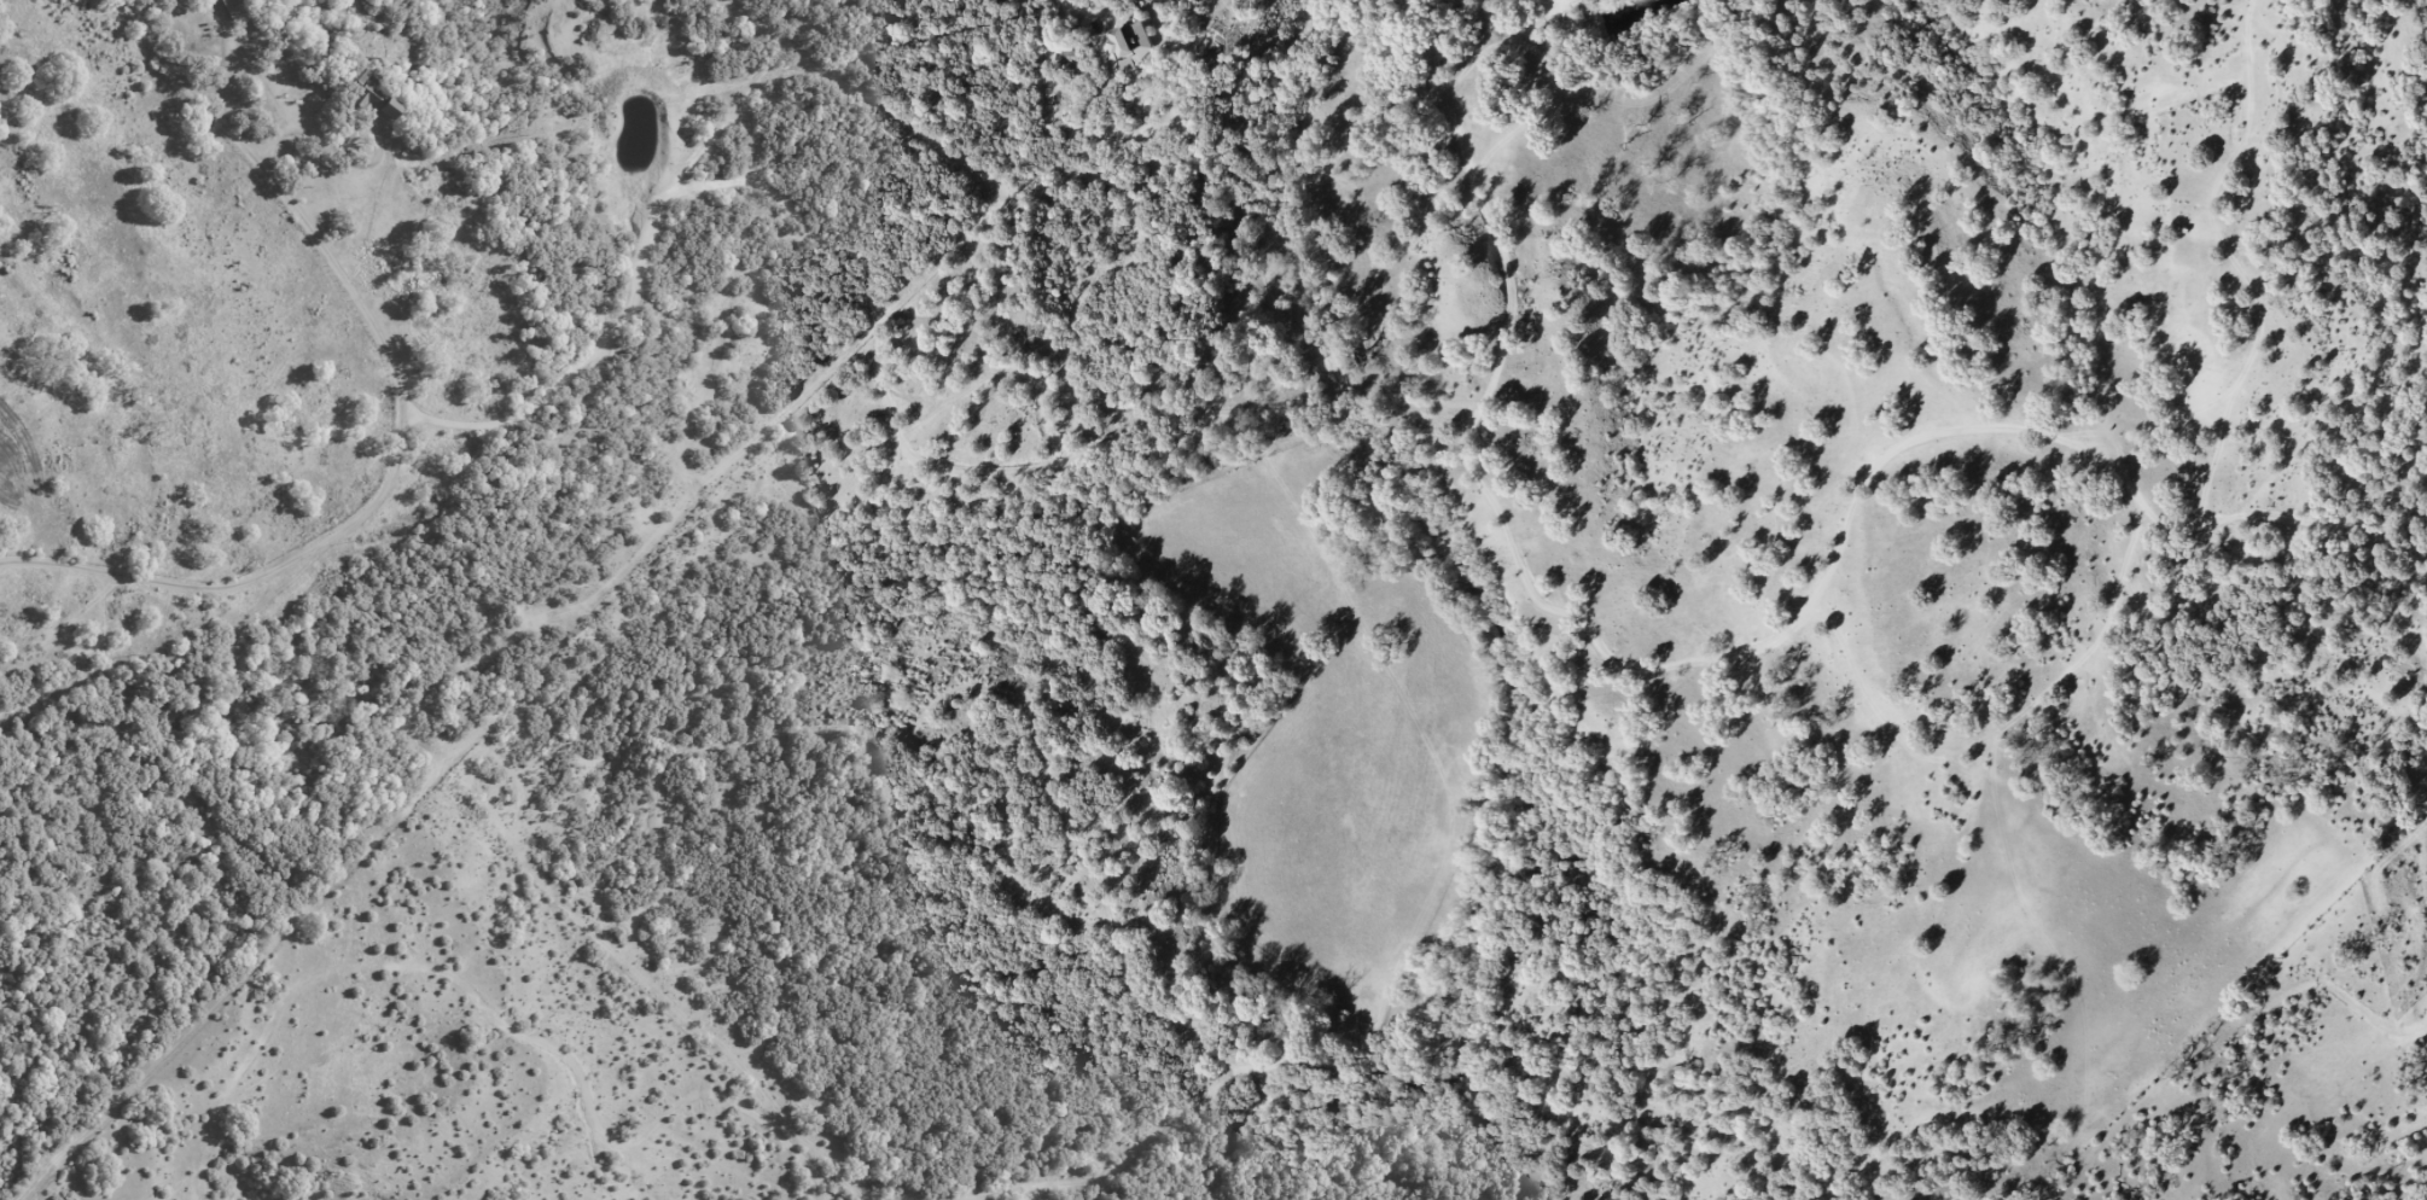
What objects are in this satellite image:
building: (233, 7)
road: (804, 39)
building: (1128, 45)
building: (372, 99)
road: (297, 197)
road: (650, 285)
road: (252, 583)

